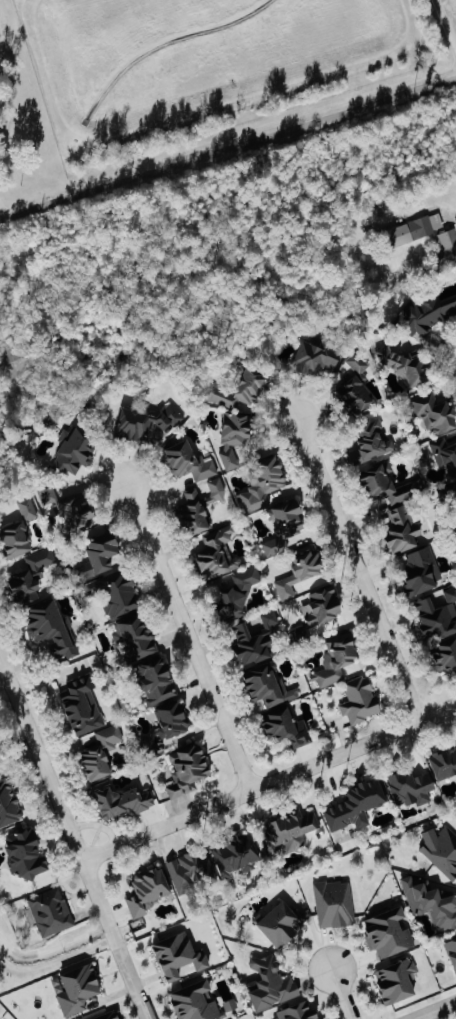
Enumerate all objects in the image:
road: (449, 16)
road: (227, 147)
road: (2, 211)
building: (414, 229)
building: (448, 239)
building: (427, 312)
building: (313, 360)
building: (404, 364)
building: (239, 390)
building: (354, 394)
building: (433, 412)
building: (233, 436)
building: (370, 441)
building: (73, 451)
building: (445, 454)
building: (187, 462)
building: (262, 484)
building: (384, 484)
building: (66, 507)
building: (199, 507)
building: (27, 508)
building: (282, 526)
building: (401, 530)
building: (455, 534)
building: (14, 539)
building: (101, 551)
building: (215, 554)
building: (87, 569)
road: (359, 570)
building: (298, 571)
building: (420, 571)
building: (29, 577)
building: (114, 594)
building: (236, 594)
building: (318, 610)
building: (437, 615)
building: (50, 629)
road: (189, 636)
building: (134, 637)
building: (254, 640)
building: (444, 657)
building: (335, 661)
building: (155, 681)
building: (267, 687)
building: (358, 700)
building: (81, 706)
building: (171, 719)
building: (286, 728)
building: (100, 753)
building: (443, 763)
road: (268, 783)
building: (410, 787)
building: (8, 804)
building: (354, 806)
building: (288, 830)
road: (73, 838)
building: (441, 850)
building: (24, 854)
building: (235, 855)
building: (147, 891)
building: (334, 904)
building: (430, 905)
building: (50, 912)
building: (279, 924)
building: (387, 933)
building: (451, 952)
building: (178, 957)
building: (395, 981)
building: (269, 983)
building: (77, 989)
road: (342, 993)
building: (194, 1002)
road: (433, 1009)
building: (296, 1012)
building: (108, 1016)

